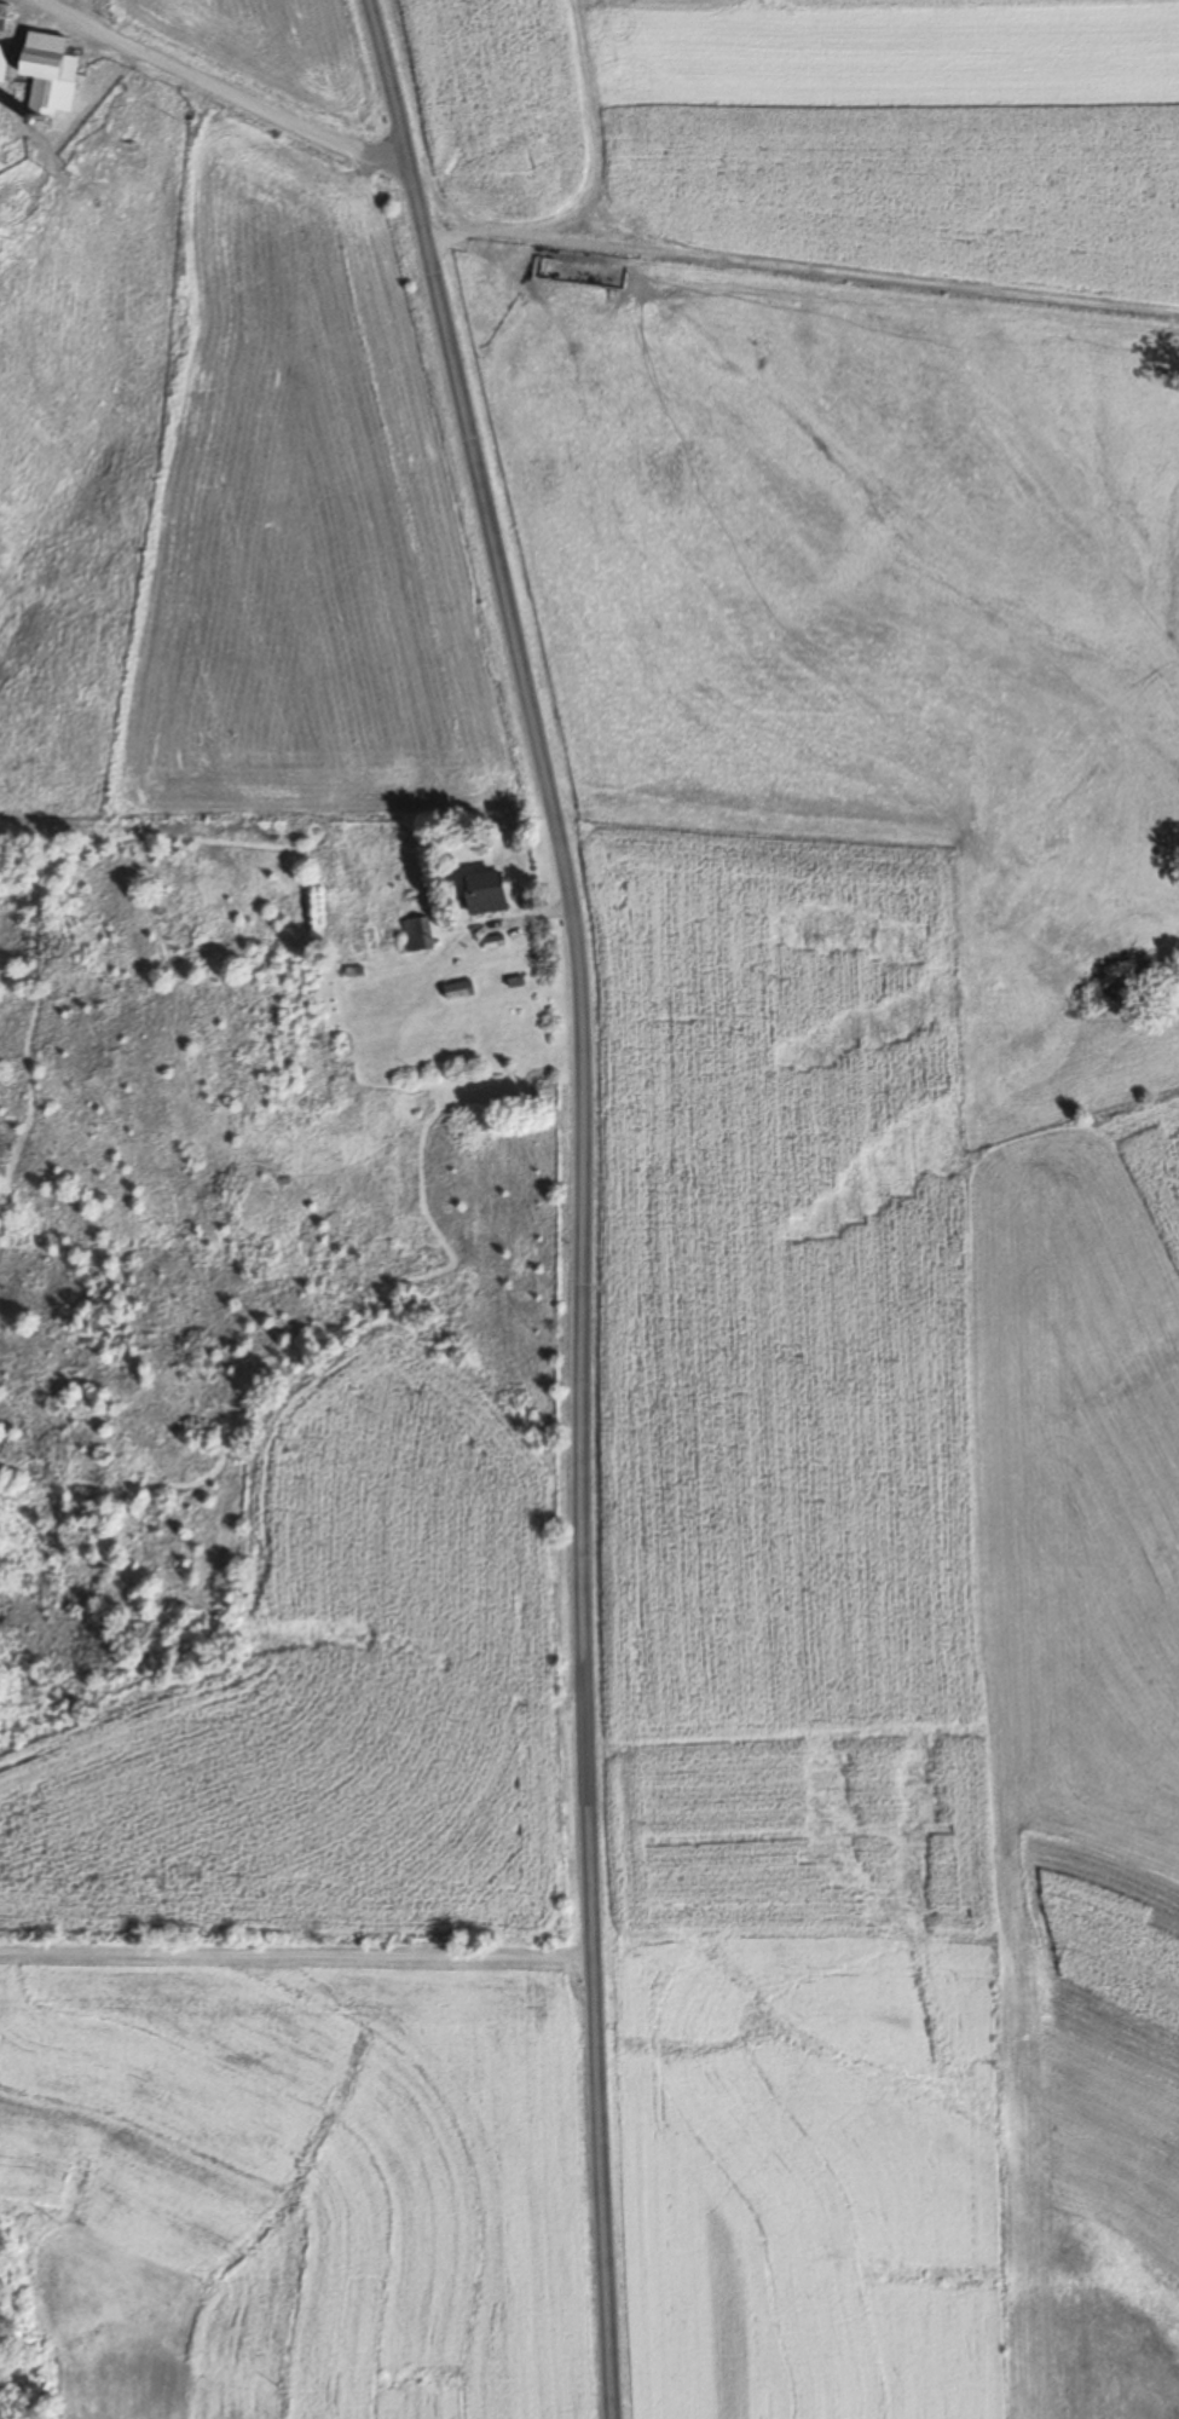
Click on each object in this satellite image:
building: (1, 15)
building: (1, 58)
building: (44, 70)
road: (225, 91)
road: (836, 808)
building: (480, 893)
building: (417, 934)
building: (351, 970)
building: (455, 989)
road: (547, 1202)
road: (295, 1951)

